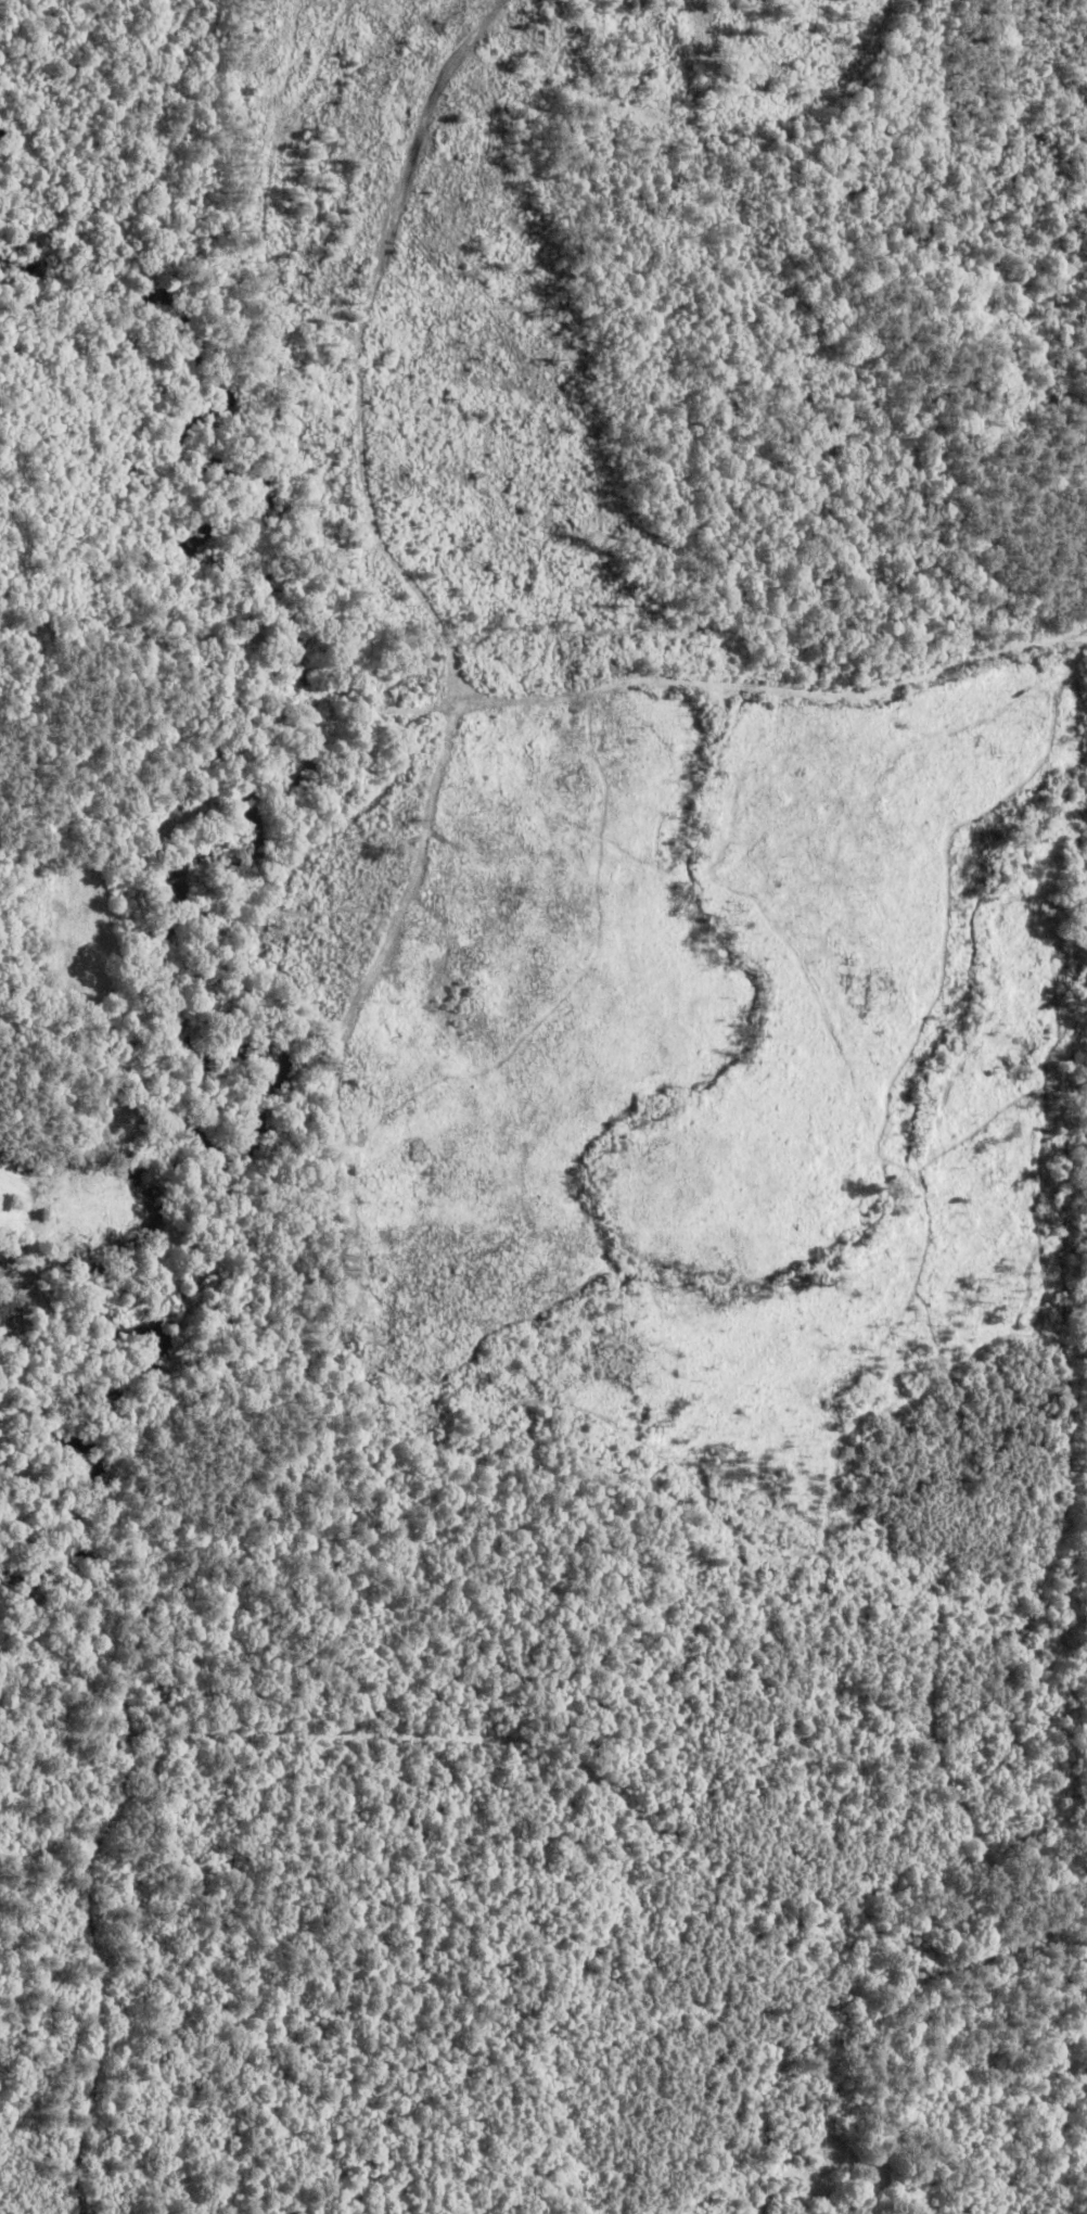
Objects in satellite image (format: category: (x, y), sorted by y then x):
river: (161, 938)

